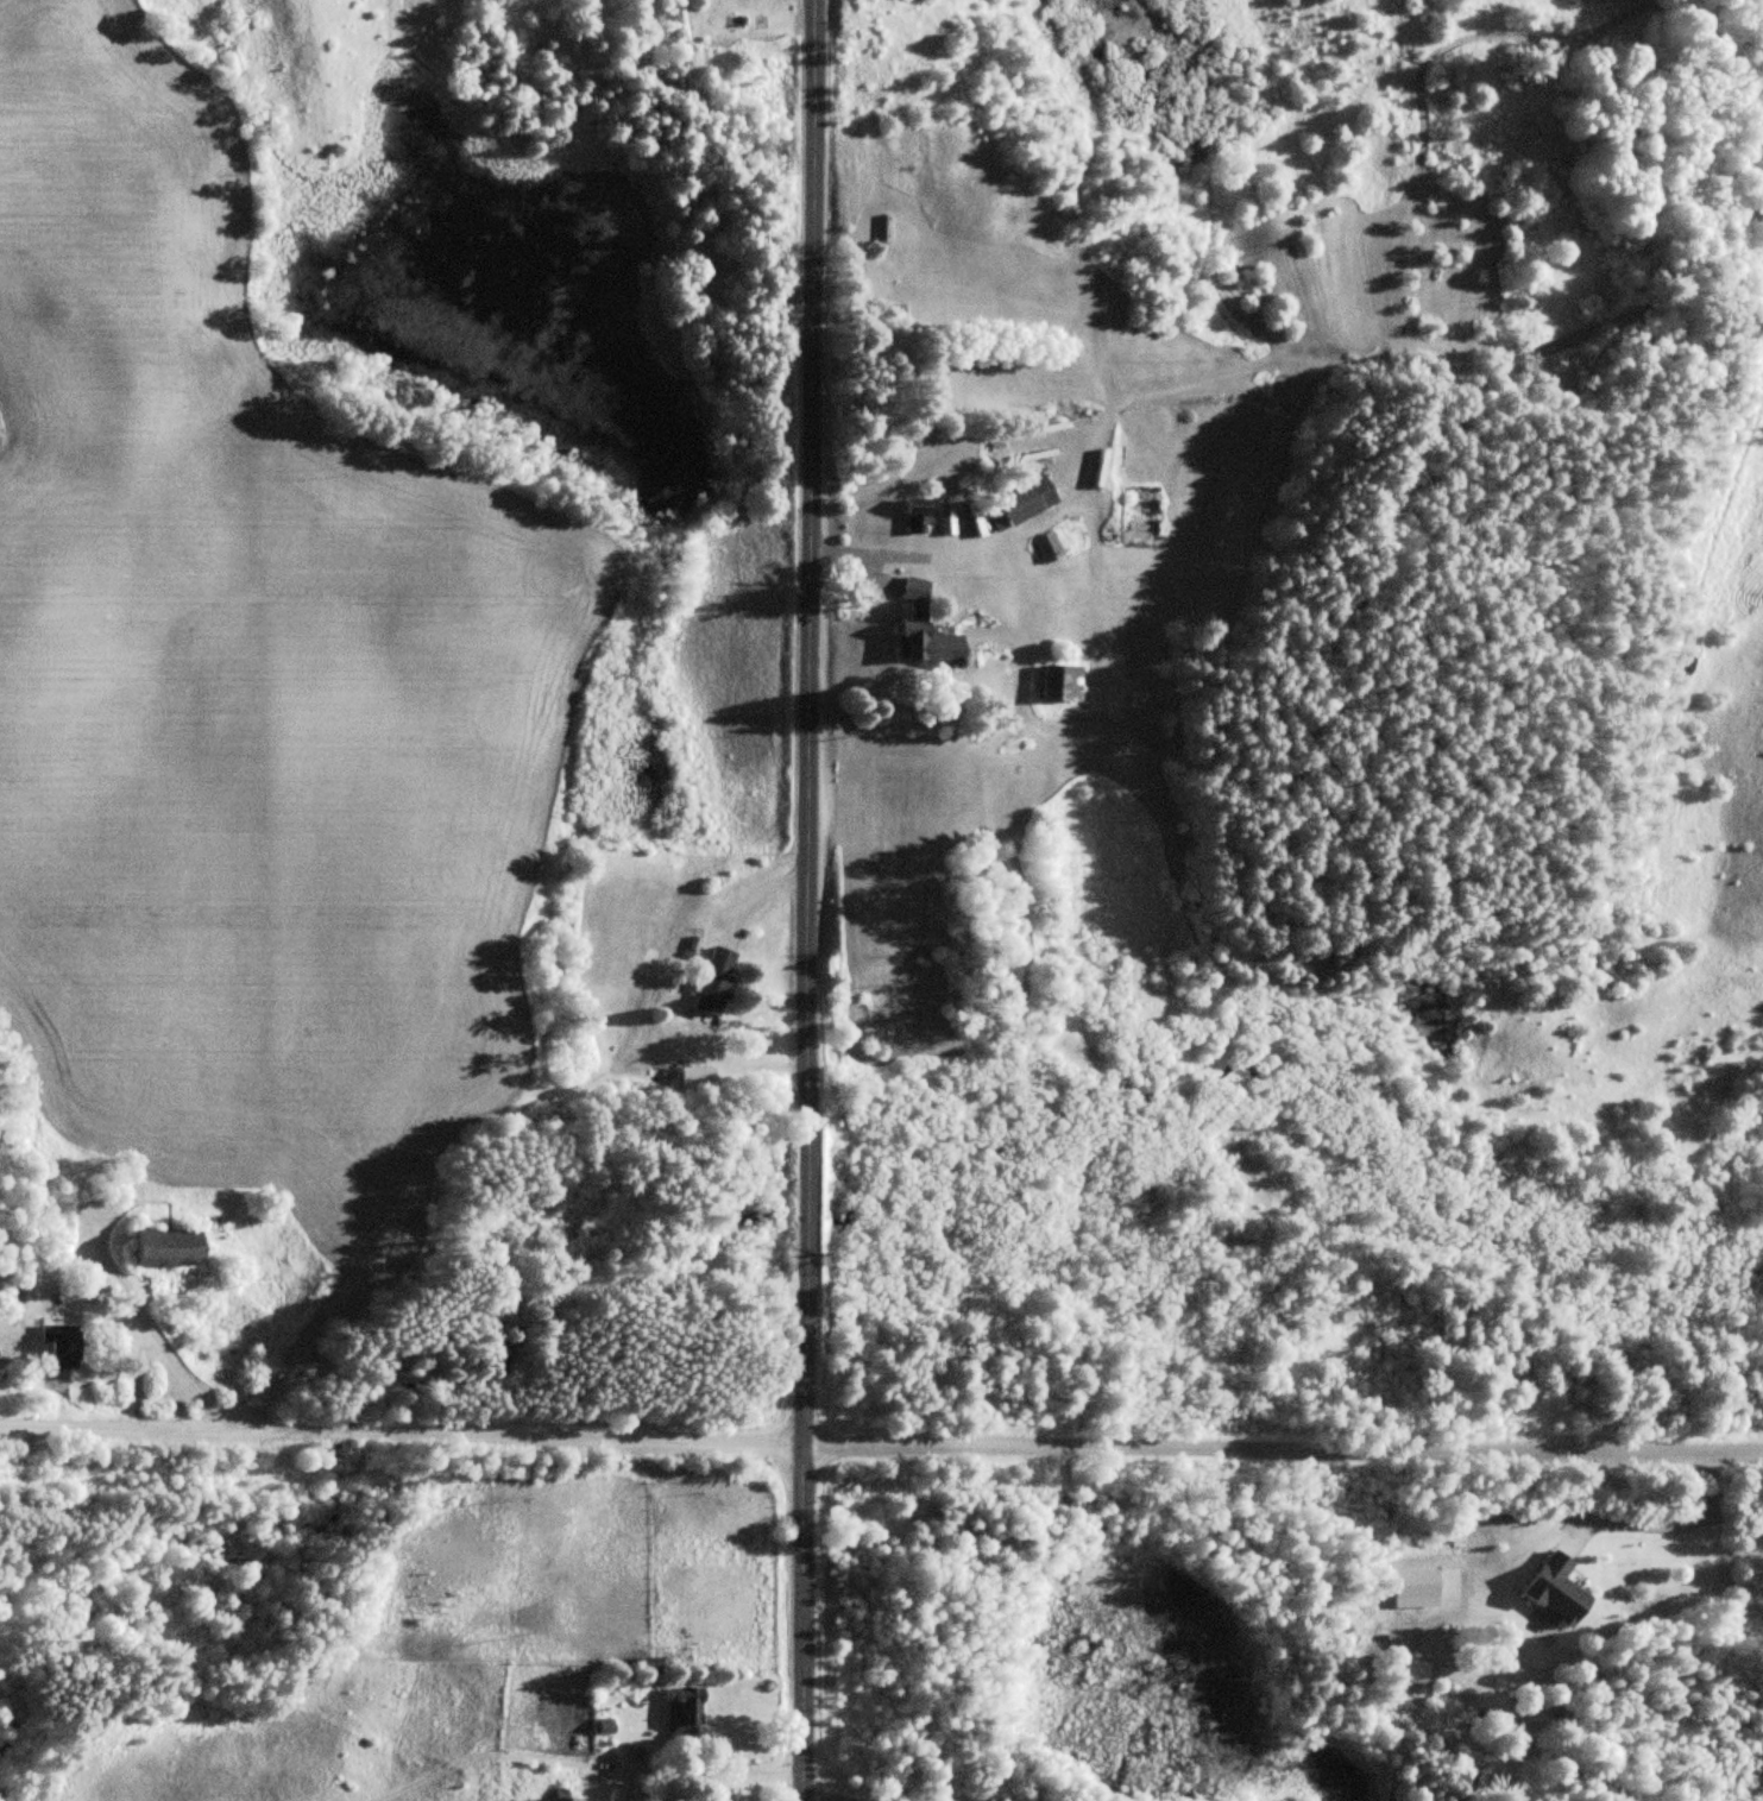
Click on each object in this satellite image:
building: (1103, 470)
building: (1022, 497)
building: (920, 516)
building: (1049, 547)
building: (927, 629)
building: (1064, 685)
road: (806, 900)
building: (717, 981)
building: (698, 1078)
building: (169, 1246)
building: (63, 1343)
road: (881, 1447)
building: (1559, 1591)
building: (651, 1664)
building: (685, 1714)
building: (563, 1799)

